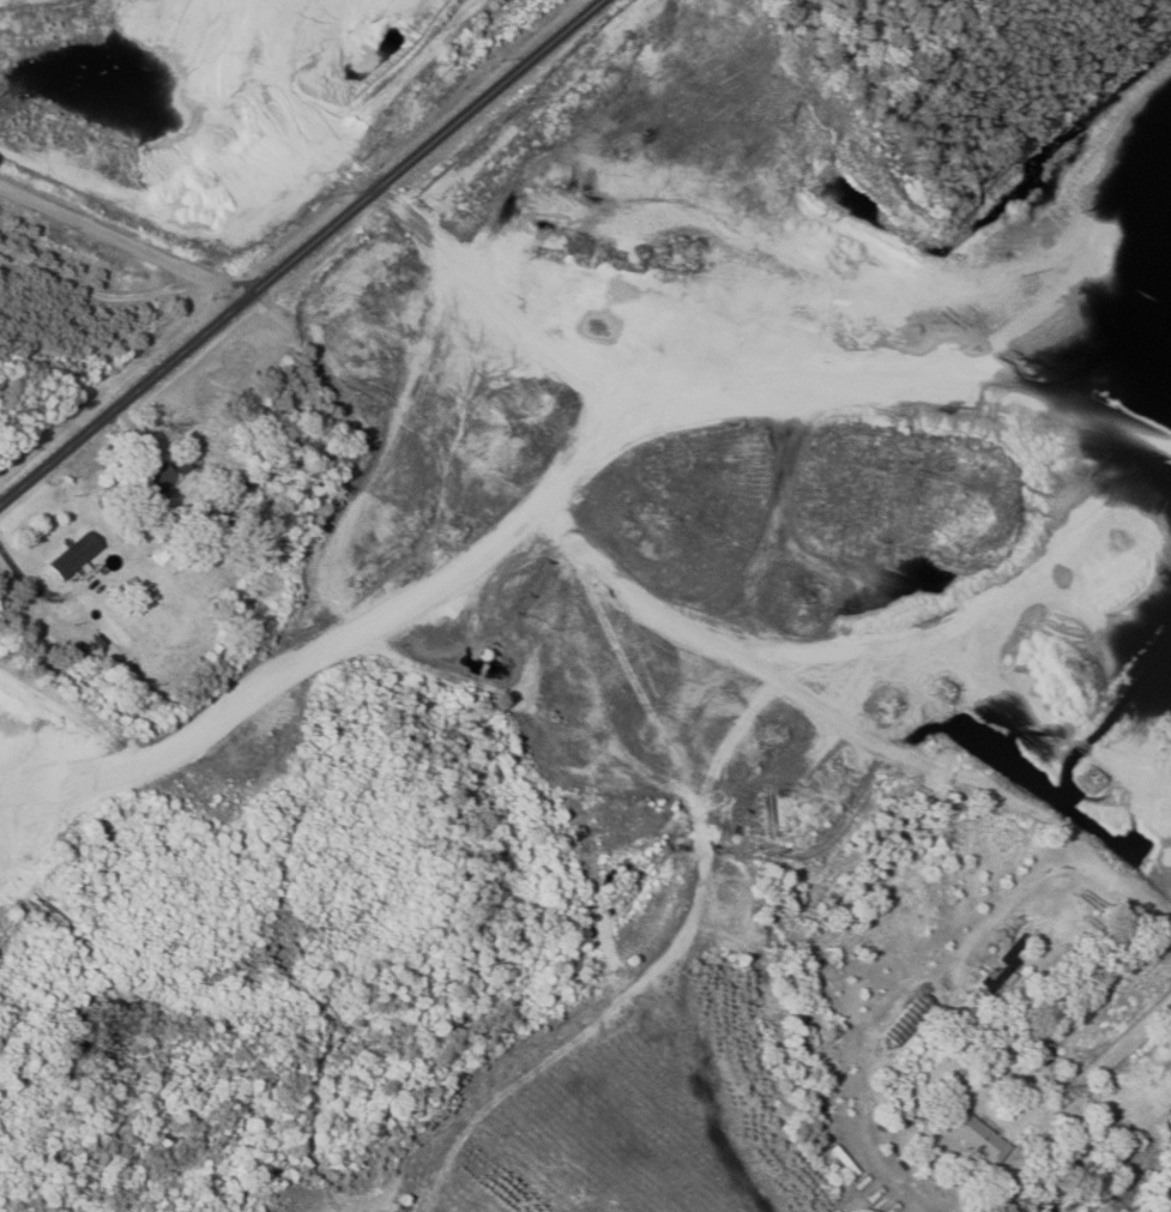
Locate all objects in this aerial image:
road: (125, 240)
road: (302, 253)
road: (354, 348)
building: (153, 483)
building: (810, 538)
building: (74, 556)
road: (820, 659)
building: (1004, 967)
building: (834, 1002)
building: (911, 1020)
road: (1117, 1056)
building: (979, 1138)

